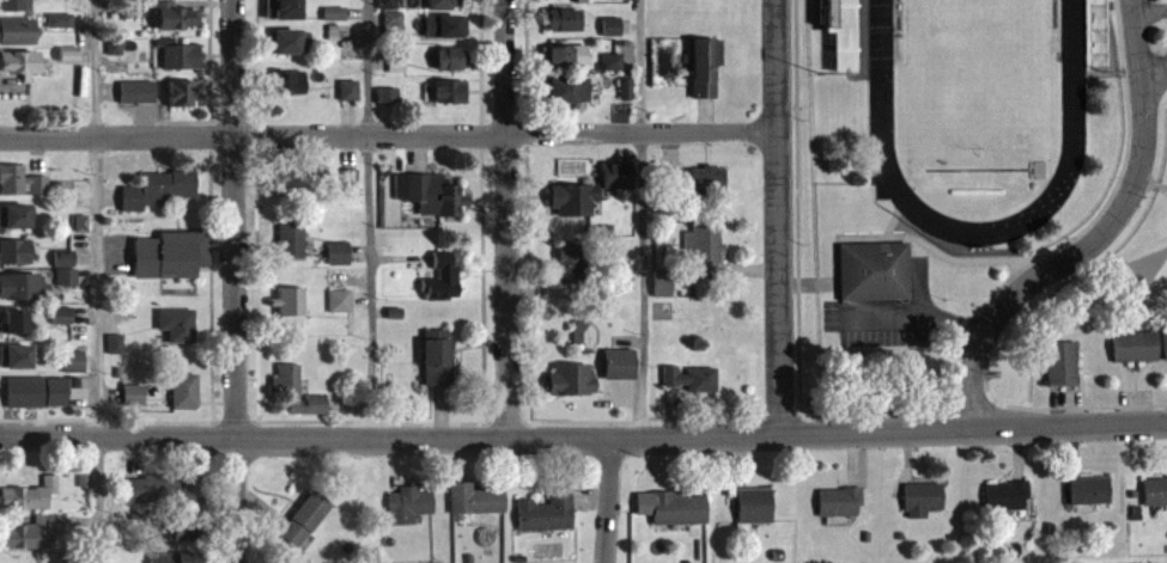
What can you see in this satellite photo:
building: (444, 4)
building: (18, 5)
building: (290, 7)
road: (1150, 11)
building: (335, 13)
building: (177, 18)
building: (60, 20)
building: (567, 20)
building: (445, 26)
building: (20, 31)
building: (292, 41)
building: (71, 54)
building: (178, 54)
building: (564, 55)
building: (847, 55)
building: (450, 60)
building: (23, 65)
track: (1072, 66)
building: (707, 68)
road: (1154, 69)
park: (975, 74)
park: (975, 74)
building: (291, 81)
building: (350, 90)
building: (571, 90)
building: (450, 91)
building: (182, 93)
road: (389, 137)
building: (703, 179)
building: (20, 180)
building: (158, 189)
building: (434, 195)
building: (573, 201)
building: (22, 216)
road: (507, 218)
road: (780, 218)
road: (367, 219)
road: (642, 219)
road: (1099, 237)
building: (291, 240)
building: (709, 249)
building: (18, 252)
building: (339, 253)
building: (170, 255)
building: (65, 258)
building: (572, 264)
building: (875, 271)
building: (67, 276)
building: (444, 277)
road: (99, 281)
road: (236, 281)
building: (25, 286)
building: (339, 301)
building: (292, 305)
building: (62, 314)
building: (20, 322)
building: (177, 324)
building: (1166, 344)
building: (1136, 347)
building: (23, 356)
building: (438, 357)
building: (74, 360)
building: (1063, 362)
building: (621, 363)
building: (691, 378)
building: (573, 379)
building: (28, 391)
building: (186, 391)
building: (296, 391)
building: (133, 394)
road: (583, 437)
building: (153, 489)
building: (1089, 491)
building: (1155, 491)
building: (30, 495)
building: (1007, 496)
building: (475, 500)
building: (923, 500)
road: (608, 501)
building: (840, 502)
building: (409, 506)
building: (754, 506)
building: (680, 508)
building: (547, 513)
building: (306, 519)
building: (25, 536)
building: (176, 557)

